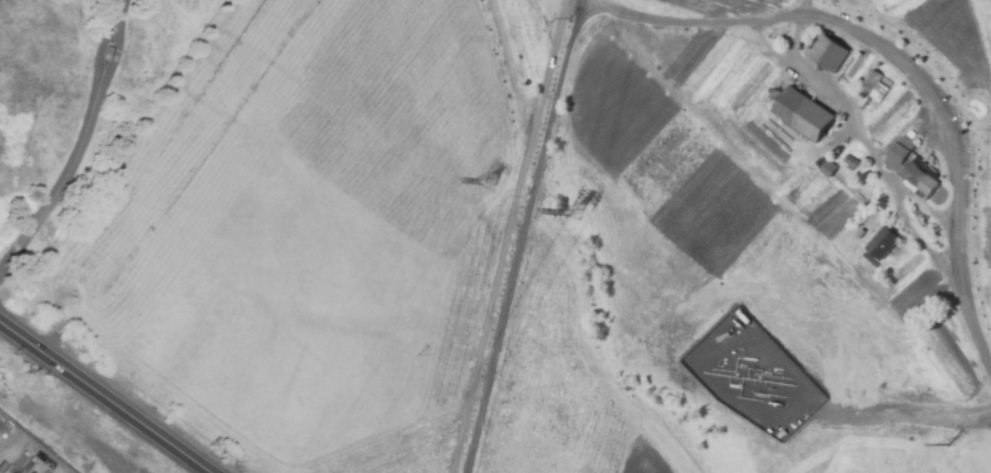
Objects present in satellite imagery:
road: (121, 5)
road: (763, 41)
road: (102, 43)
road: (119, 47)
building: (110, 52)
building: (829, 53)
building: (871, 80)
park: (78, 109)
building: (805, 113)
road: (857, 126)
road: (545, 129)
building: (765, 142)
road: (958, 146)
building: (899, 153)
building: (852, 160)
building: (830, 168)
building: (920, 175)
road: (61, 182)
power tower: (487, 182)
power tower: (568, 209)
road: (921, 241)
building: (883, 243)
road: (105, 396)
road: (915, 417)

